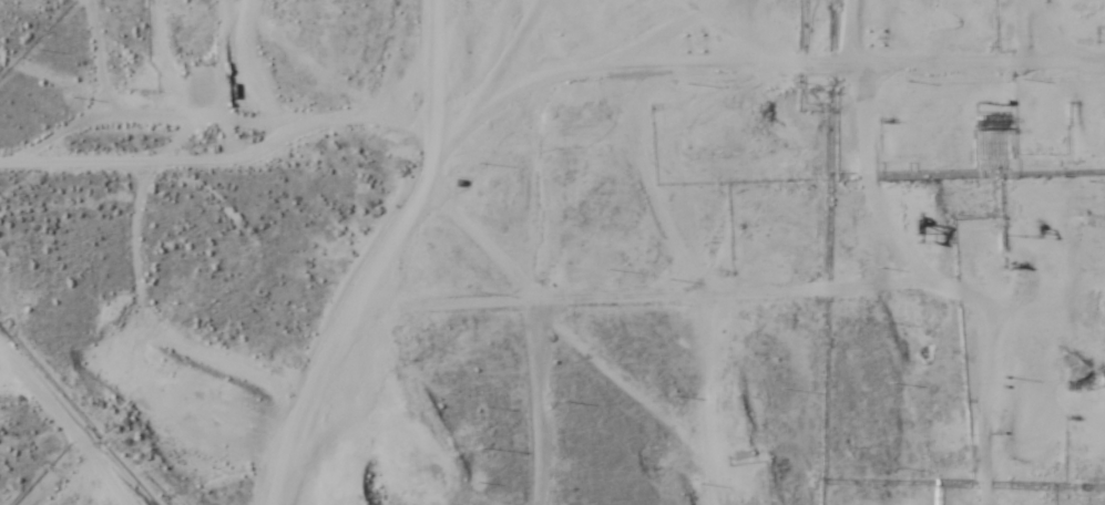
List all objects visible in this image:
road: (986, 361)
road: (71, 432)

